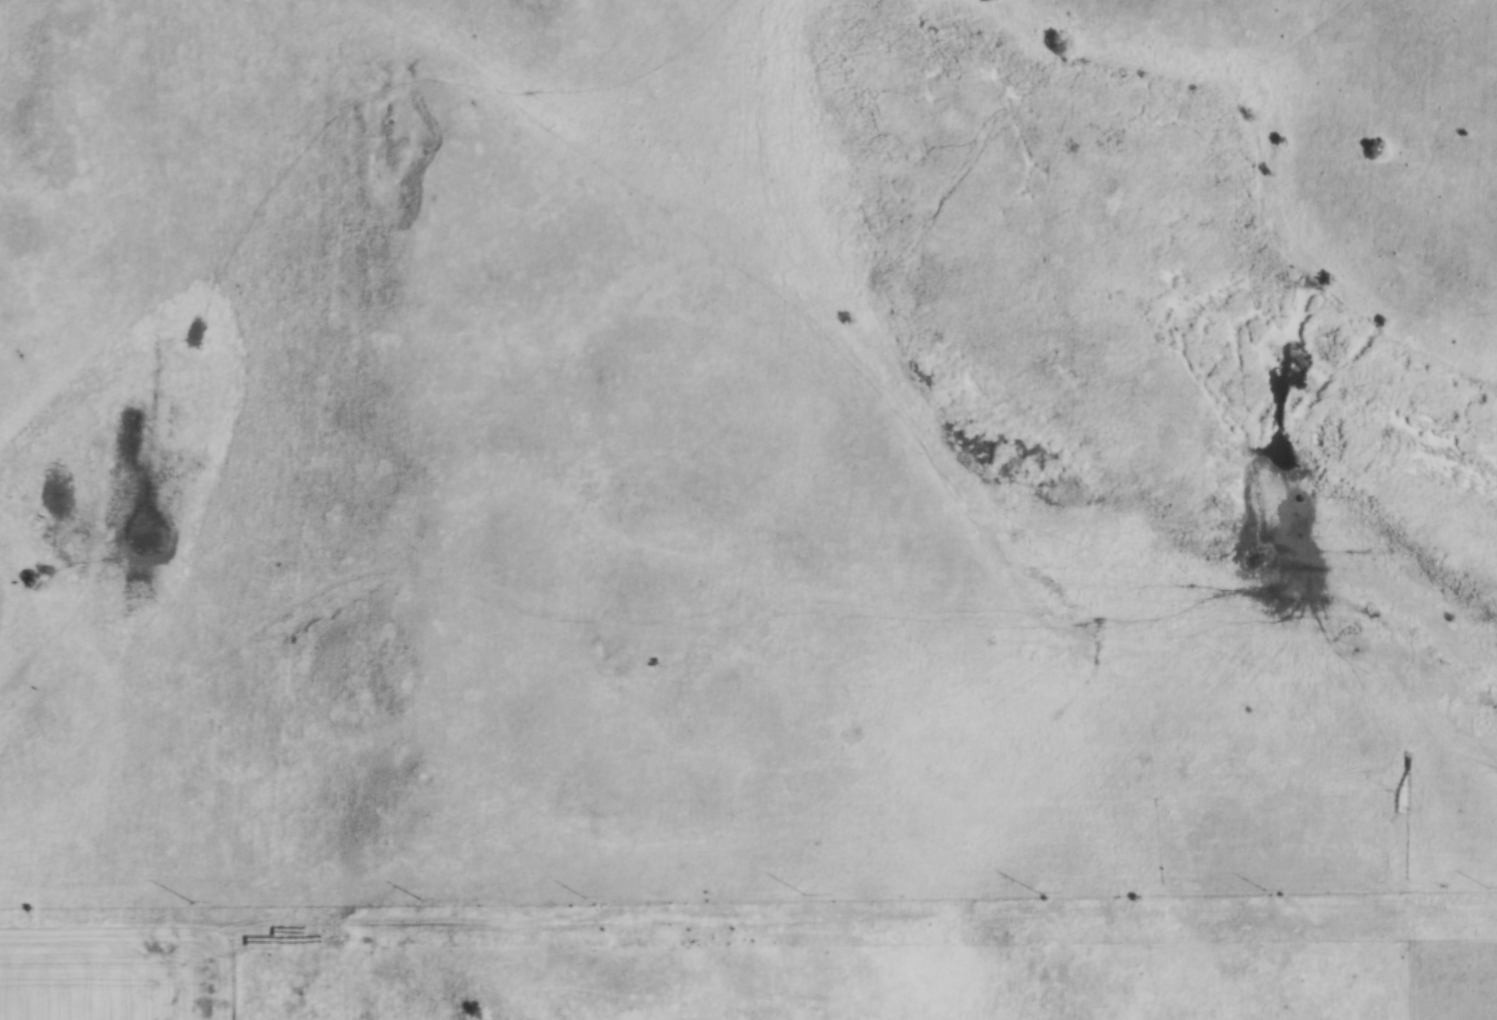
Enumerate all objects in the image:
road: (748, 922)

